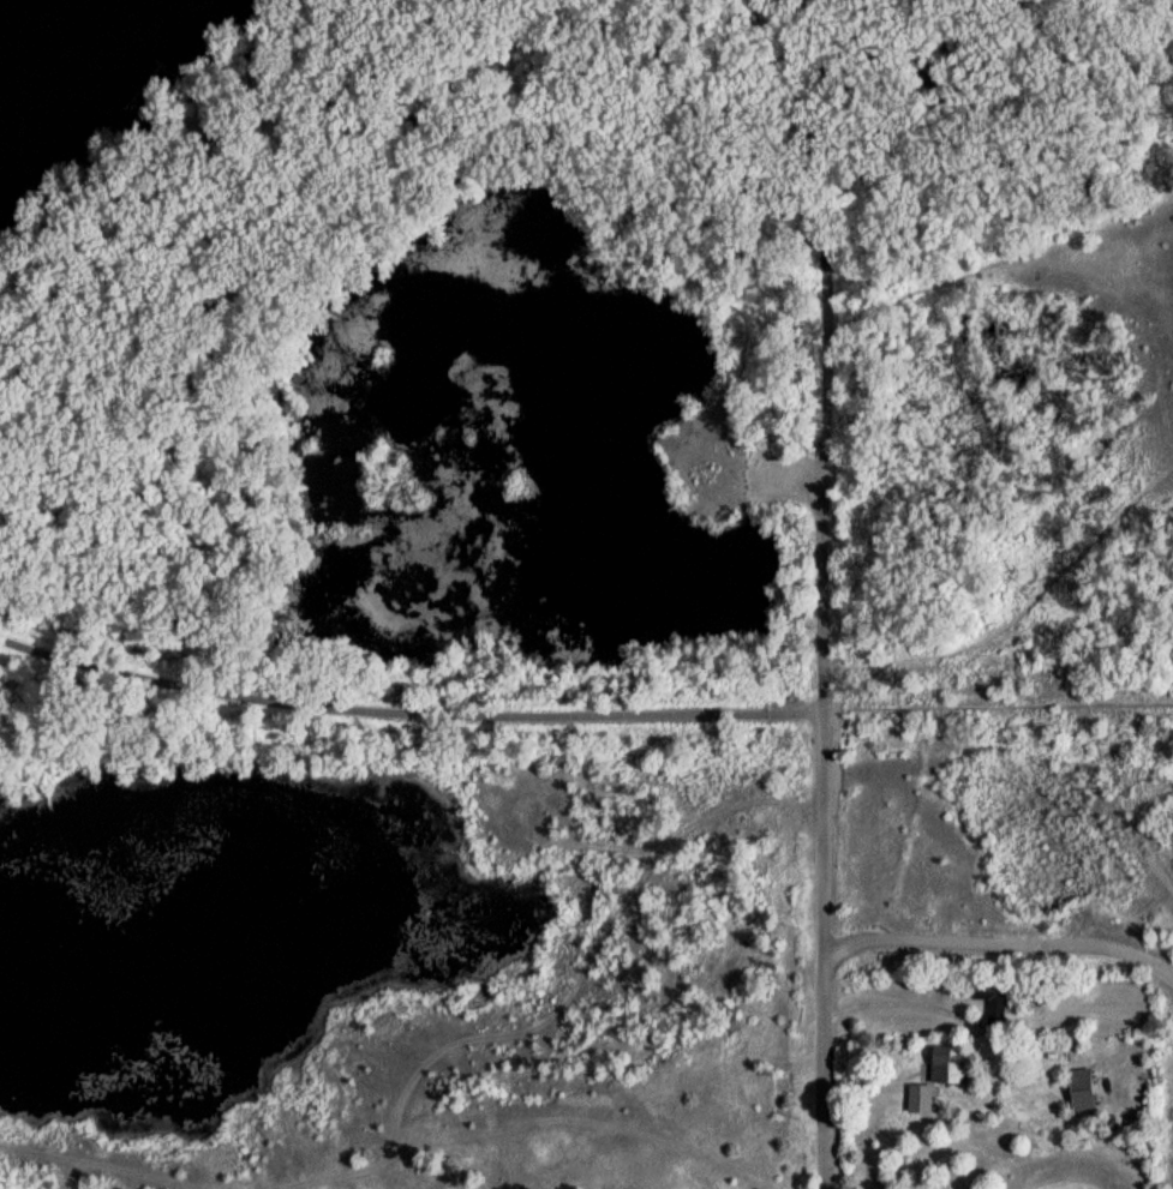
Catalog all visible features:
river: (50, 14)
river: (56, 28)
river: (5, 59)
road: (827, 594)
road: (580, 716)
road: (896, 1004)
building: (989, 1008)
building: (936, 1085)
building: (1077, 1095)

